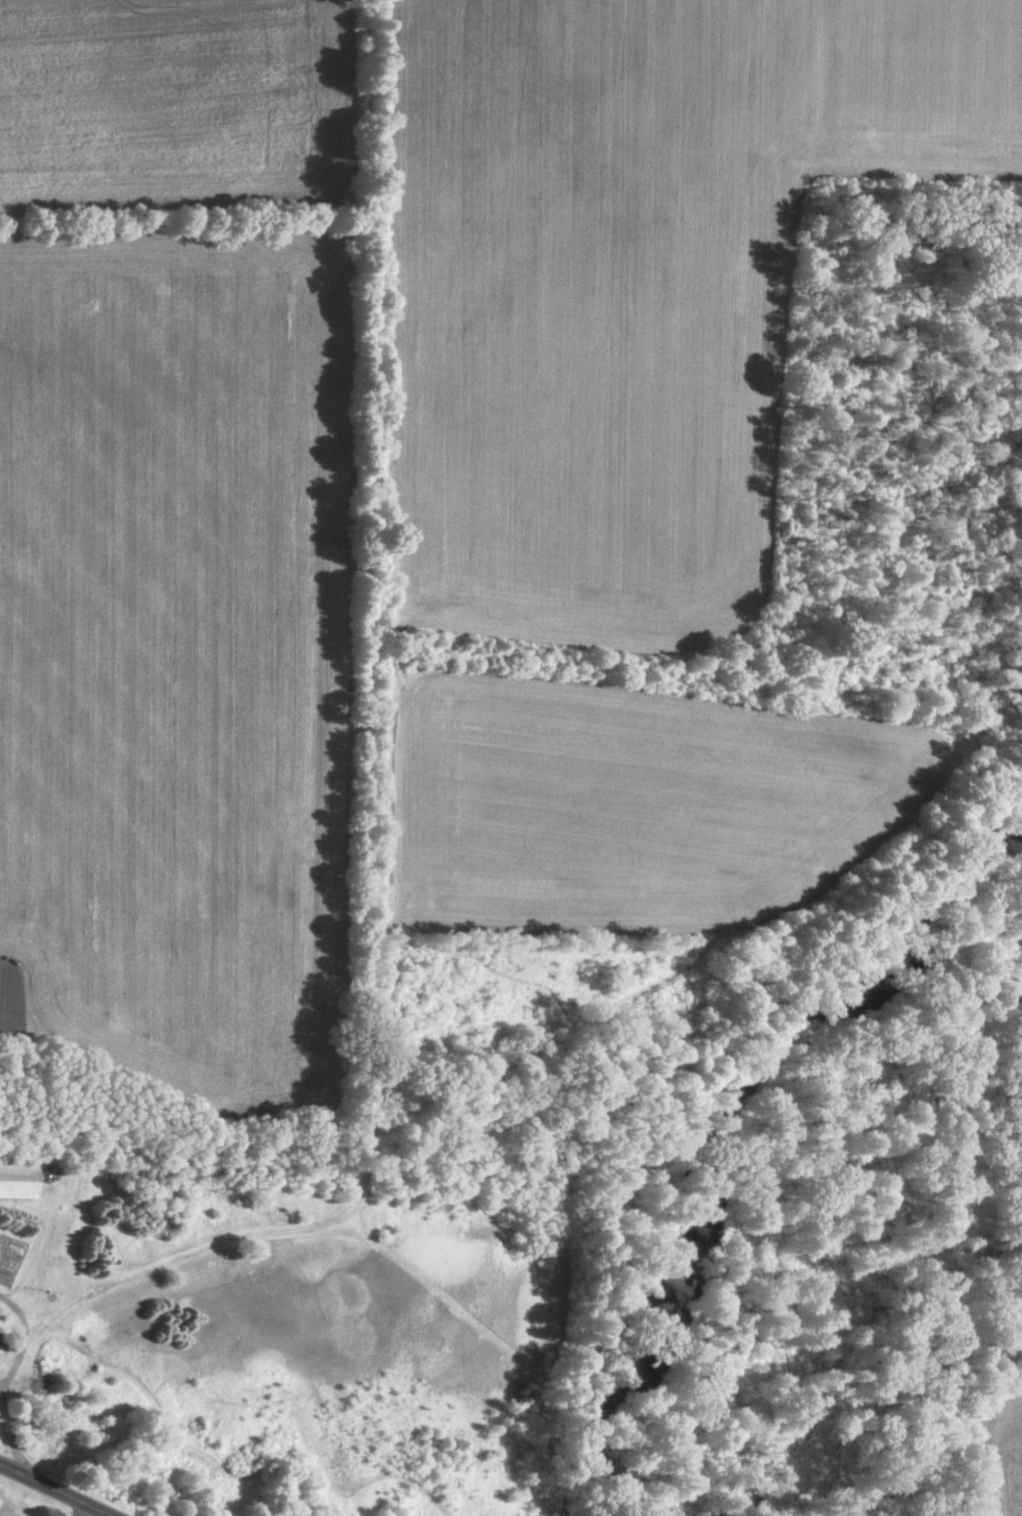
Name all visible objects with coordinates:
building: (18, 1183)
road: (56, 1490)

